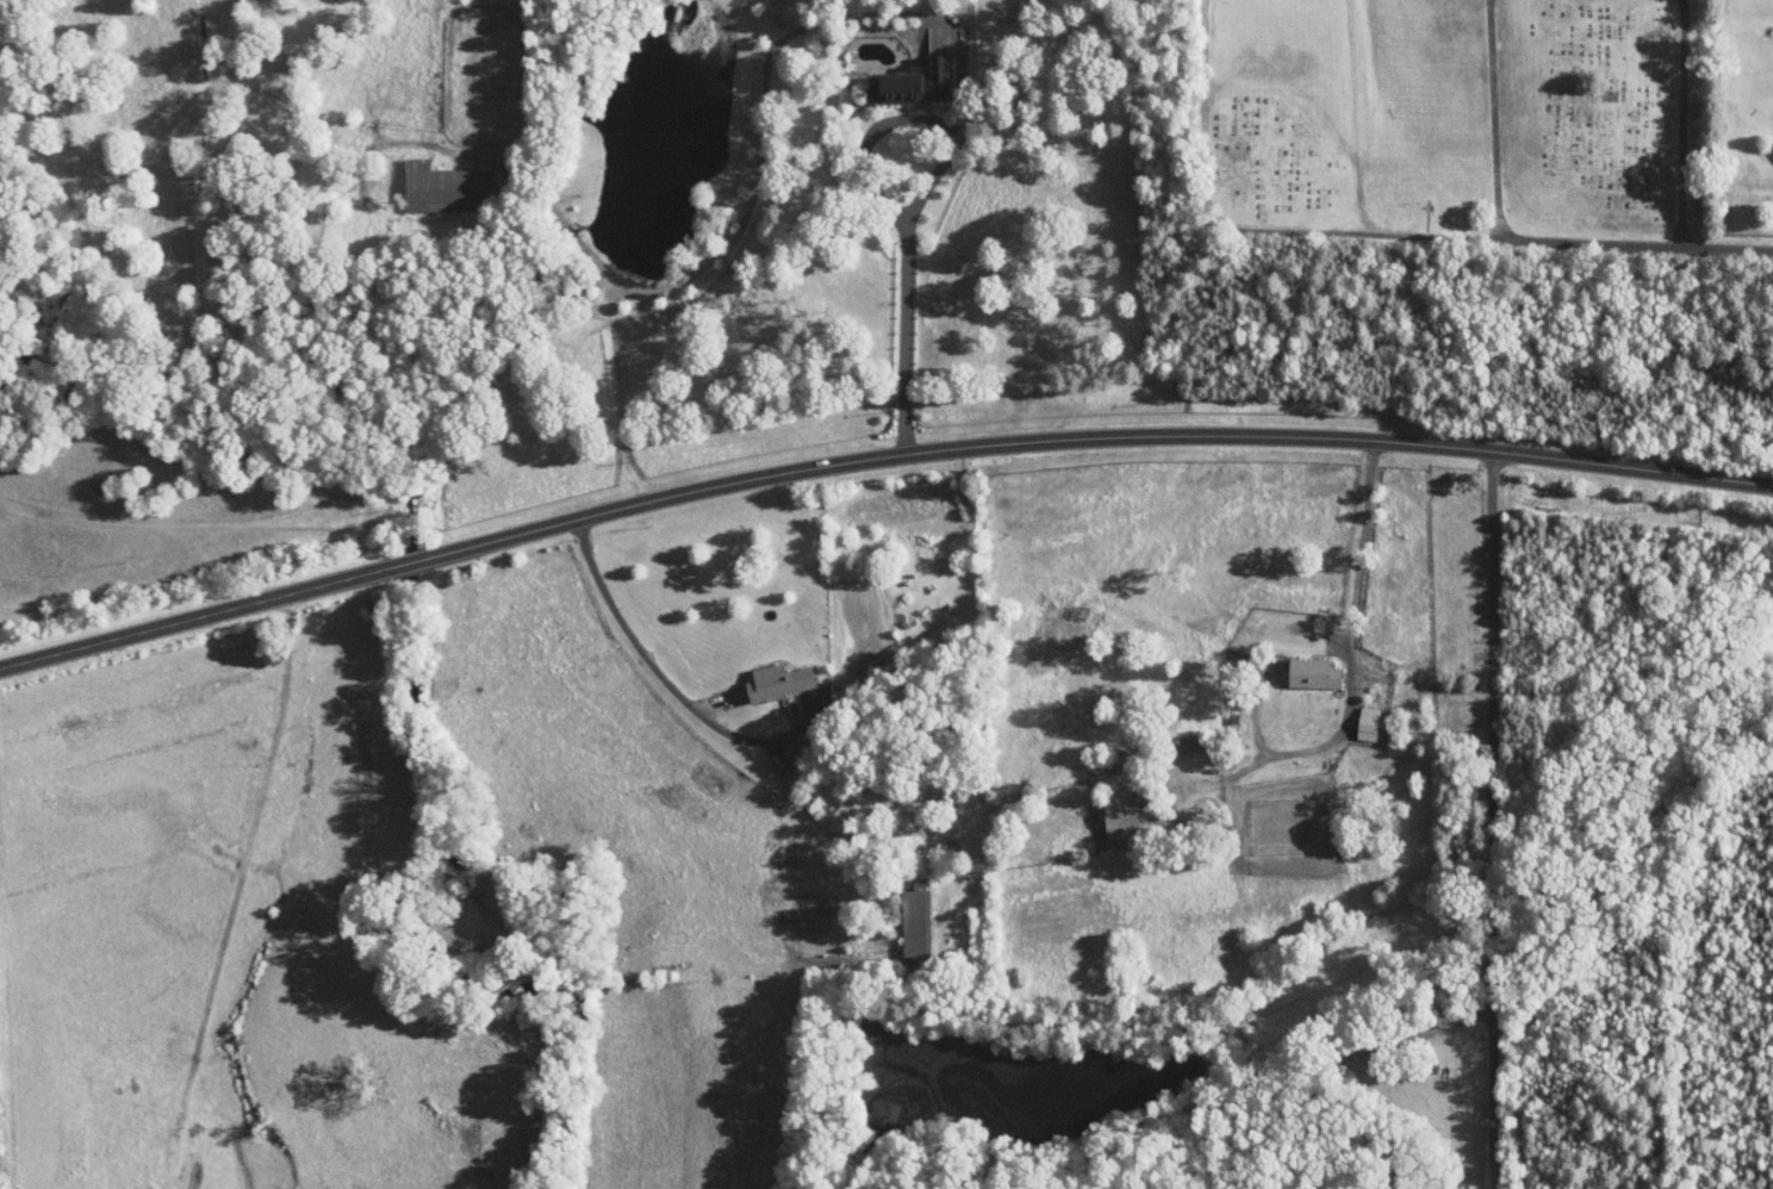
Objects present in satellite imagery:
building: (897, 74)
road: (761, 122)
park: (1452, 123)
building: (1772, 137)
building: (431, 179)
road: (922, 193)
road: (1516, 239)
road: (1096, 437)
road: (409, 562)
road: (193, 617)
building: (1299, 665)
building: (764, 673)
road: (1350, 677)
road: (664, 678)
building: (1354, 715)
building: (1171, 737)
building: (1107, 810)
road: (1492, 820)
building: (901, 911)

